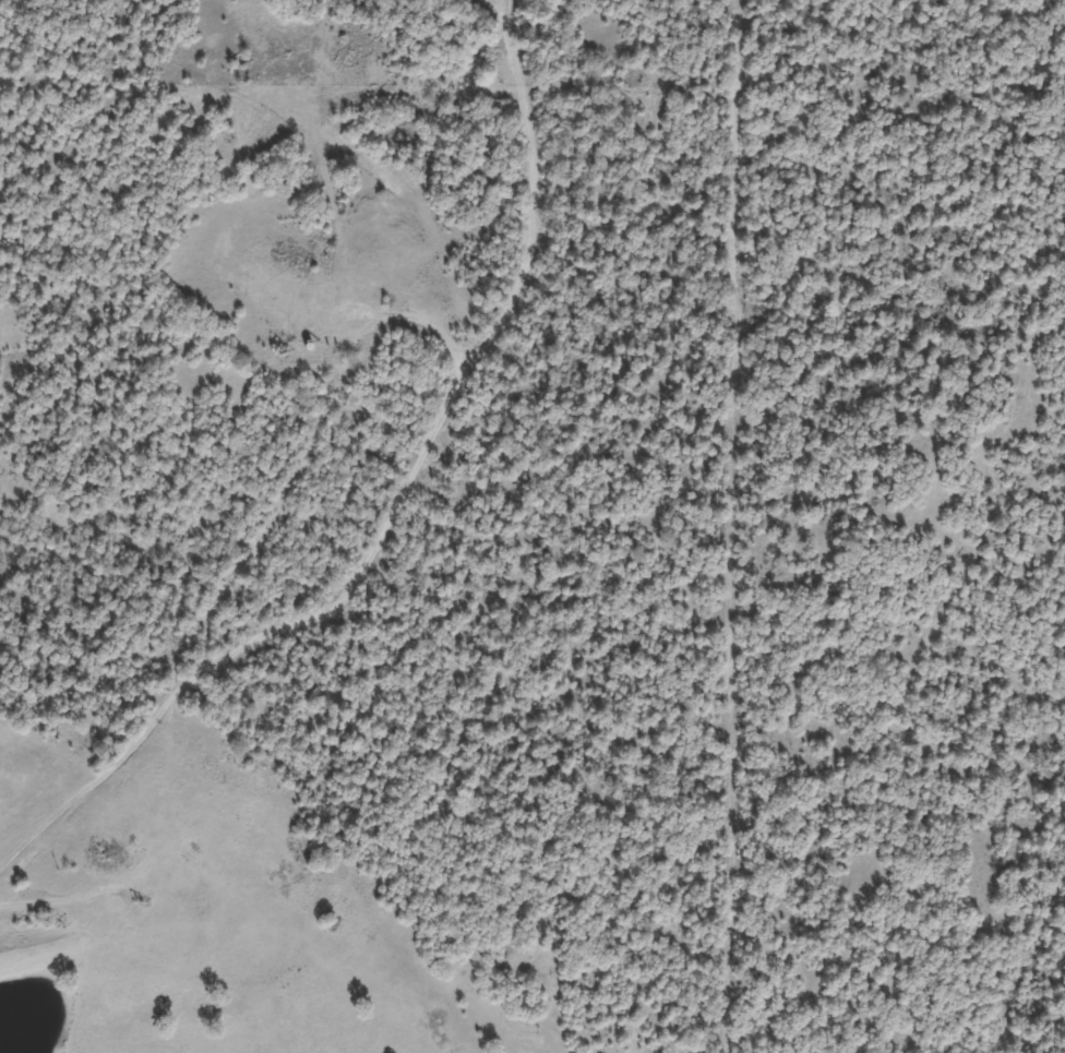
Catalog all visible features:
road: (429, 334)
road: (393, 501)

